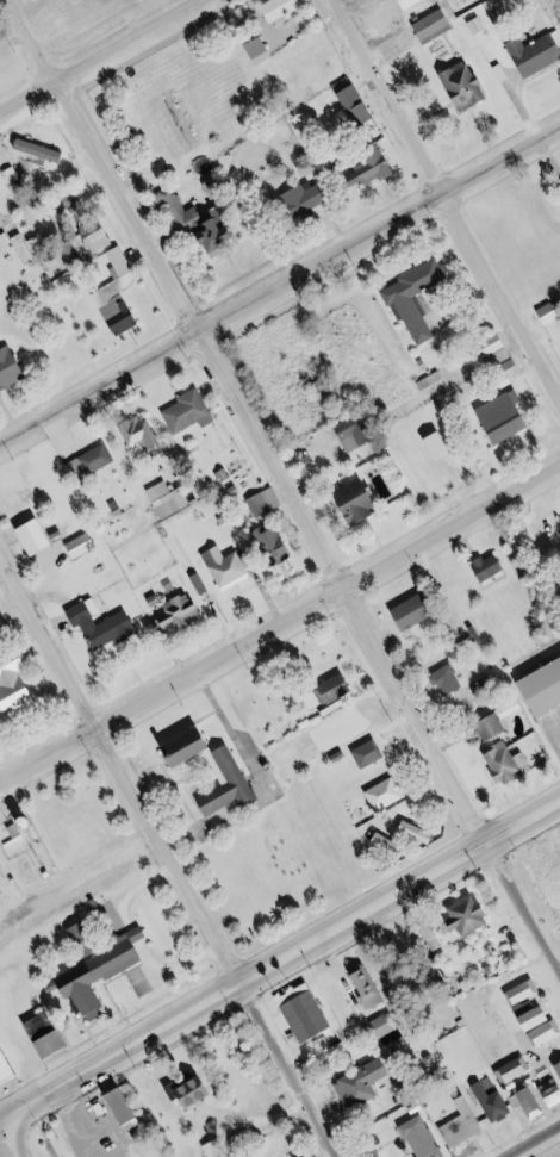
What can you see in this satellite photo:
building: (415, 2)
building: (284, 11)
building: (436, 26)
railway: (79, 44)
road: (94, 52)
building: (261, 52)
building: (537, 55)
building: (469, 88)
building: (360, 107)
building: (43, 150)
building: (374, 170)
building: (14, 175)
building: (309, 199)
road: (446, 200)
building: (206, 223)
building: (100, 240)
building: (120, 262)
road: (280, 282)
road: (167, 297)
building: (417, 298)
building: (117, 309)
building: (550, 313)
building: (498, 350)
building: (12, 371)
building: (433, 381)
building: (191, 412)
building: (508, 417)
building: (144, 433)
building: (357, 434)
building: (444, 447)
building: (93, 462)
building: (170, 499)
building: (361, 502)
building: (266, 503)
building: (85, 545)
building: (276, 546)
building: (230, 567)
building: (492, 567)
building: (417, 611)
building: (180, 615)
building: (0, 617)
building: (105, 624)
road: (280, 624)
building: (454, 678)
building: (15, 686)
building: (341, 688)
building: (547, 690)
building: (319, 698)
building: (494, 728)
building: (373, 754)
building: (509, 764)
building: (201, 769)
road: (444, 792)
building: (388, 795)
building: (423, 833)
building: (392, 845)
road: (170, 861)
building: (1, 876)
building: (472, 915)
building: (114, 920)
building: (431, 933)
building: (86, 939)
road: (278, 953)
building: (105, 975)
building: (369, 987)
building: (525, 993)
building: (311, 1018)
building: (384, 1026)
building: (543, 1026)
building: (57, 1041)
building: (11, 1062)
building: (558, 1069)
building: (365, 1084)
building: (522, 1087)
building: (198, 1090)
building: (553, 1093)
building: (496, 1103)
building: (125, 1107)
building: (465, 1126)
building: (425, 1138)
road: (531, 1140)
building: (217, 1149)
road: (0, 1156)

